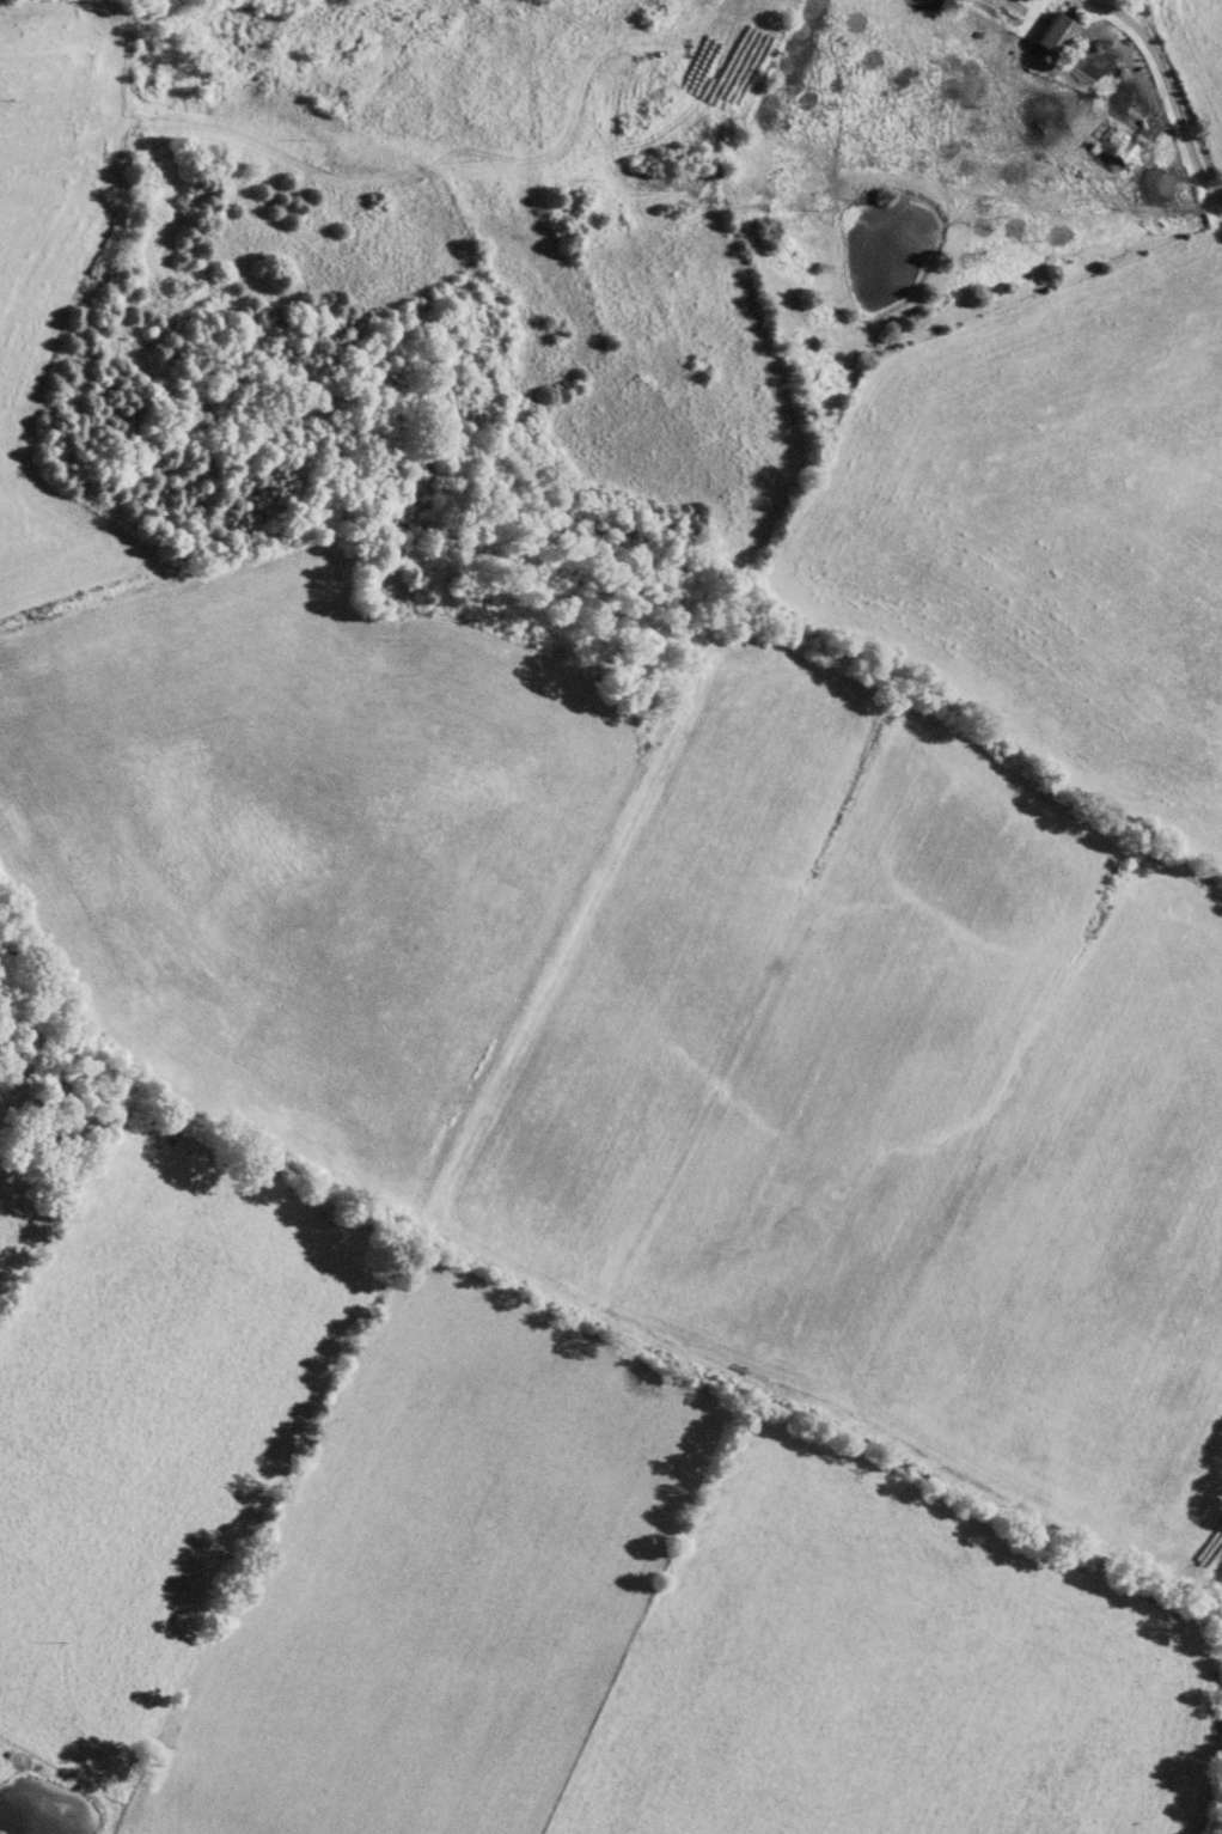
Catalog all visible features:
building: (1052, 37)
road: (1171, 87)

